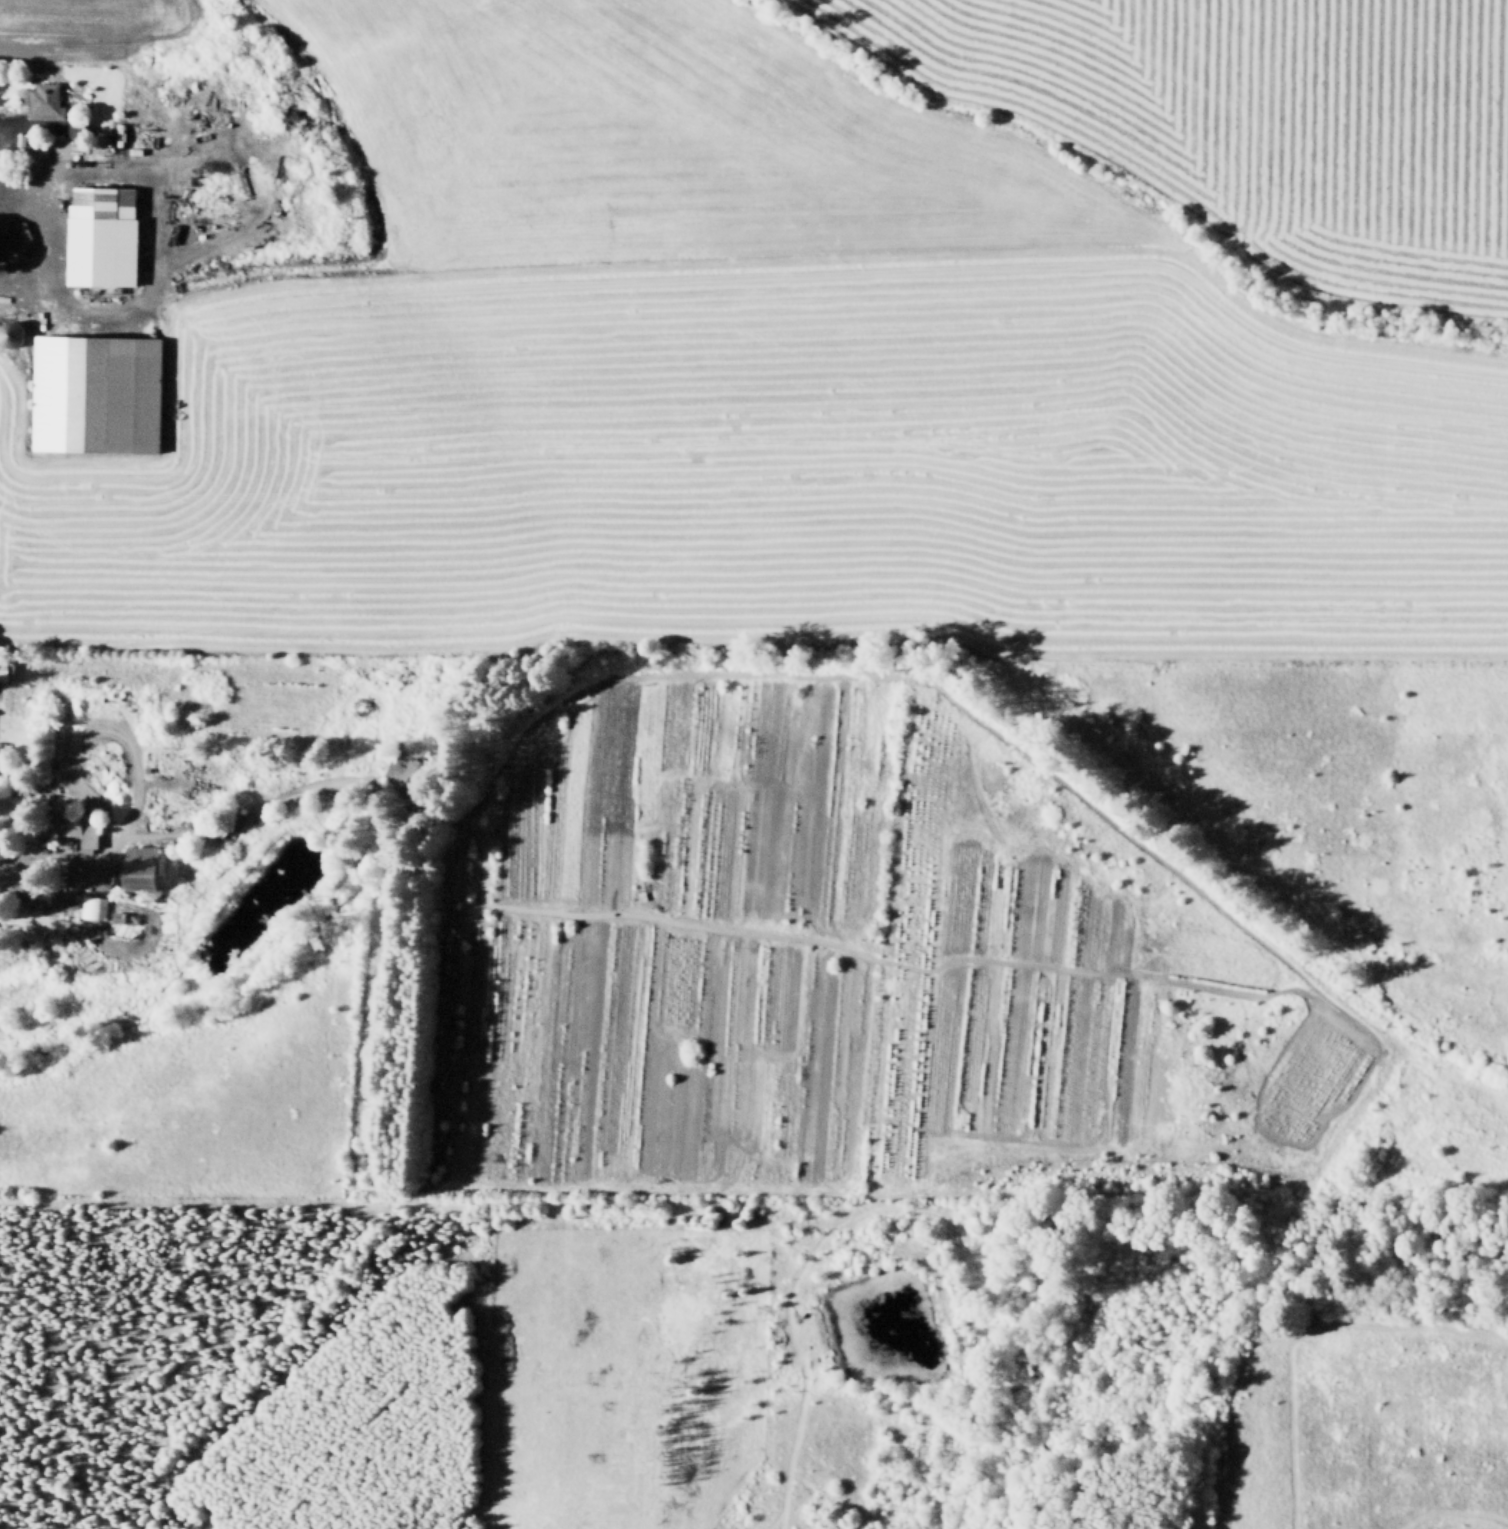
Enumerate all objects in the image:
crop: (1089, 84)
building: (39, 98)
road: (30, 122)
building: (76, 122)
building: (19, 137)
crop: (658, 138)
building: (135, 148)
road: (53, 150)
crop: (1376, 151)
road: (261, 181)
building: (2, 221)
building: (101, 232)
road: (163, 236)
road: (34, 240)
building: (14, 334)
building: (94, 389)
crop: (774, 466)
building: (7, 668)
road: (74, 743)
building: (5, 744)
building: (400, 774)
road: (180, 780)
building: (172, 820)
road: (232, 820)
building: (71, 823)
building: (0, 856)
building: (139, 865)
building: (22, 883)
building: (21, 900)
building: (58, 901)
building: (94, 908)
building: (116, 913)
road: (295, 919)
building: (863, 935)
crop: (766, 952)
road: (357, 1056)

